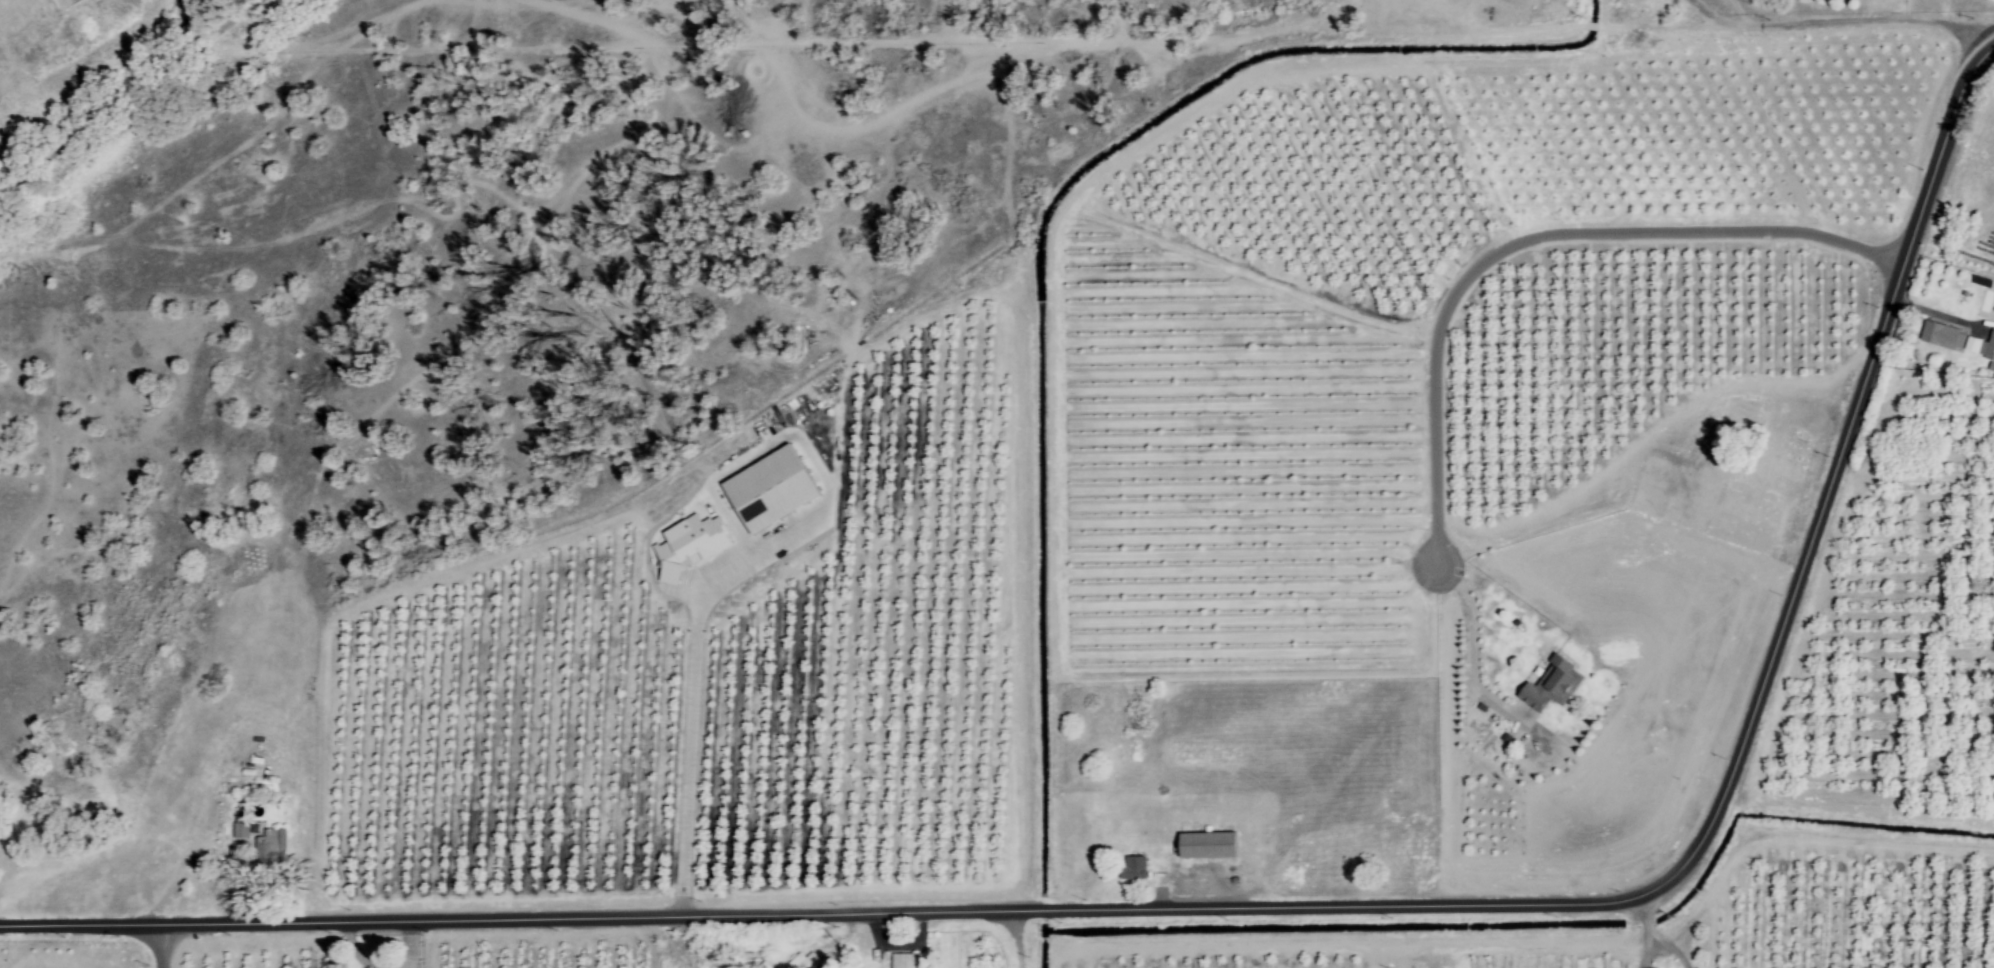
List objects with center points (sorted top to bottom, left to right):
road: (1533, 240)
building: (1941, 337)
building: (767, 491)
building: (687, 547)
road: (1476, 635)
building: (1550, 686)
road: (690, 754)
building: (1204, 846)
building: (260, 848)
building: (1132, 869)
road: (1291, 911)
road: (1641, 933)
road: (1018, 939)
road: (371, 945)
road: (160, 947)
building: (800, 960)
building: (904, 961)

